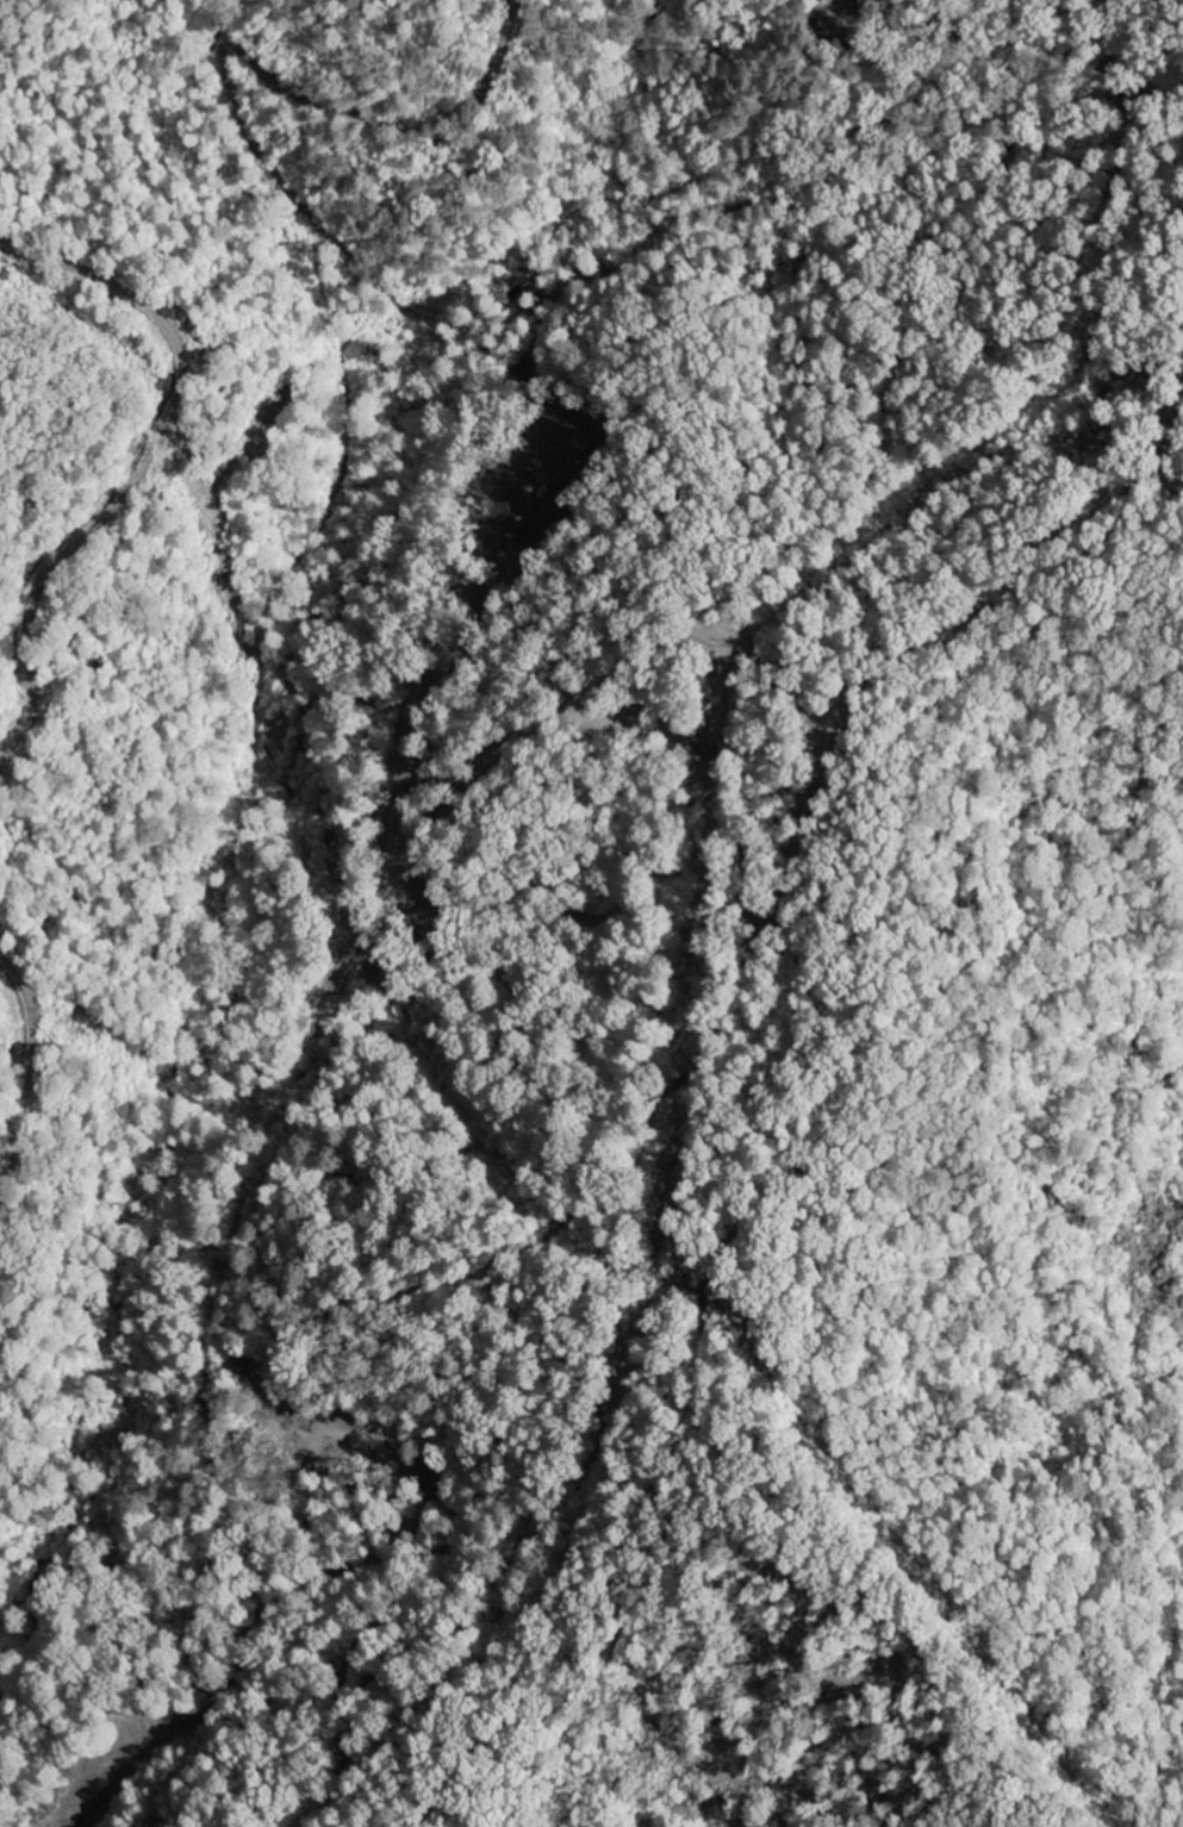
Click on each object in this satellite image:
road: (129, 466)
road: (229, 910)
road: (11, 1062)

